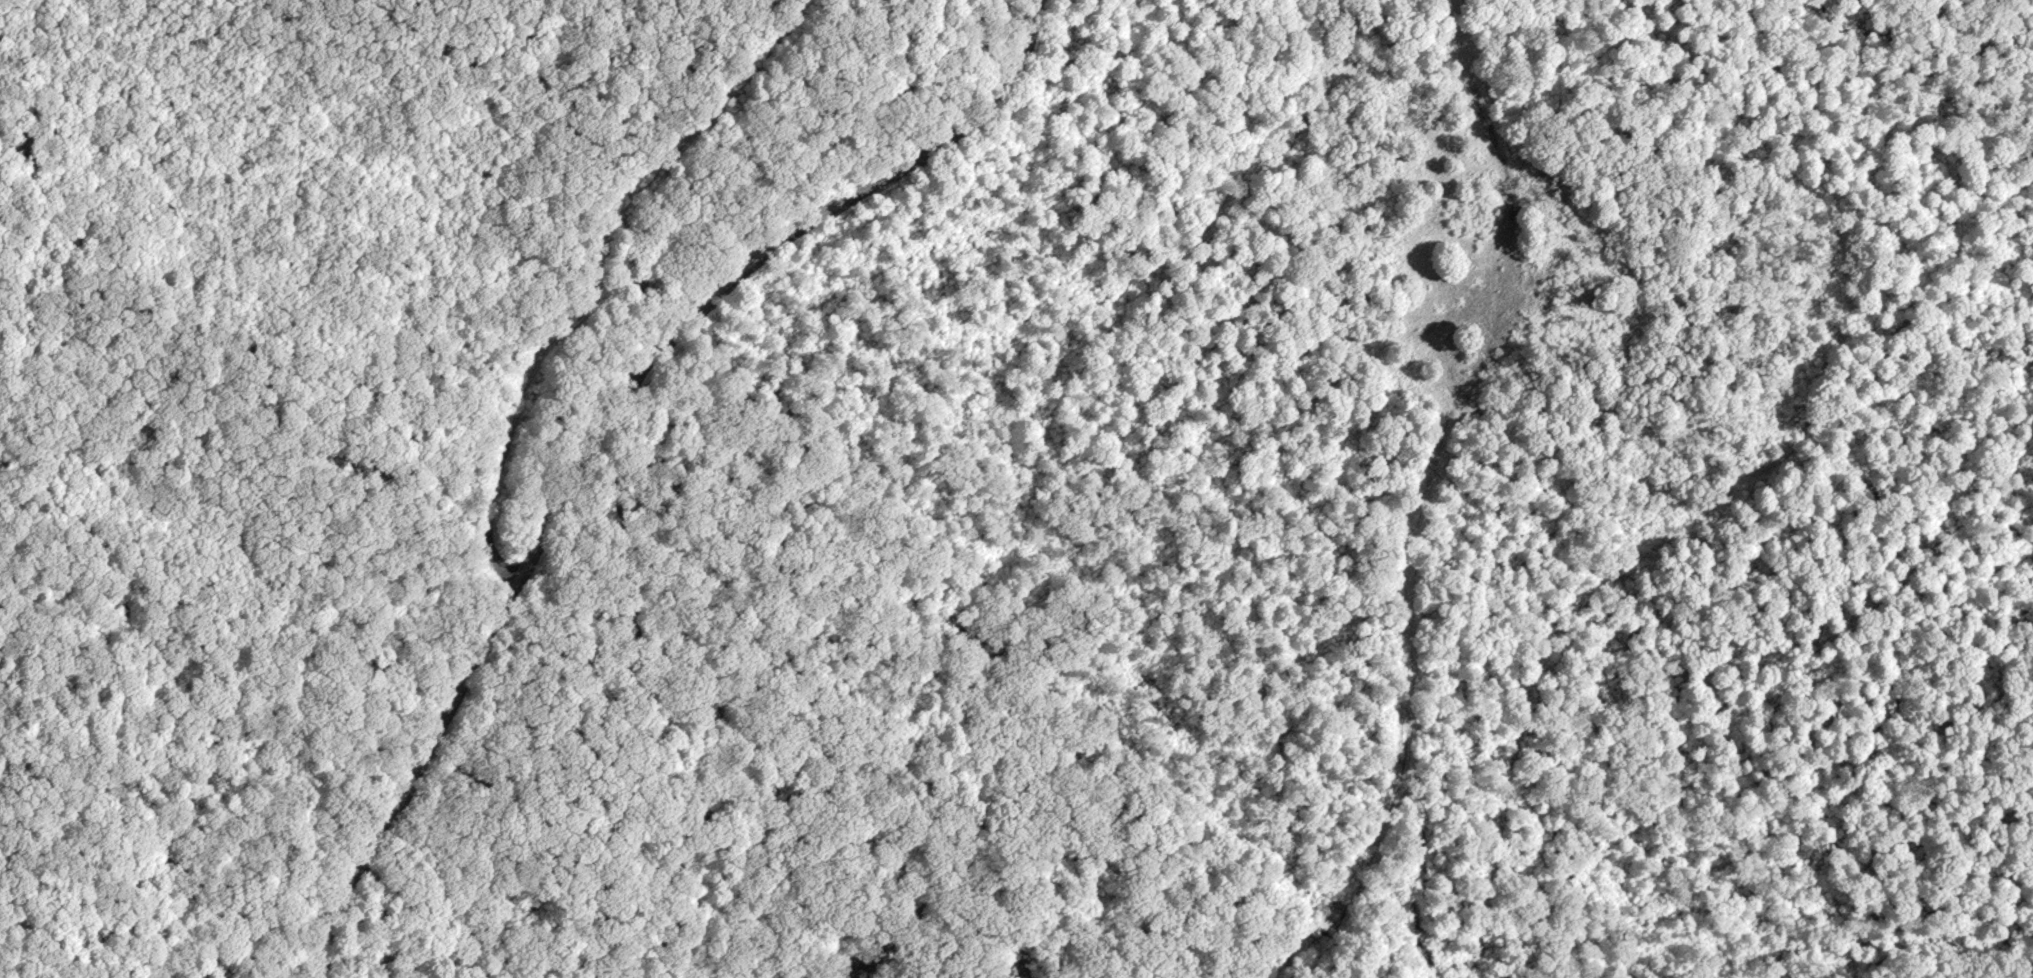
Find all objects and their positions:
road: (824, 212)
road: (450, 700)
road: (657, 705)

